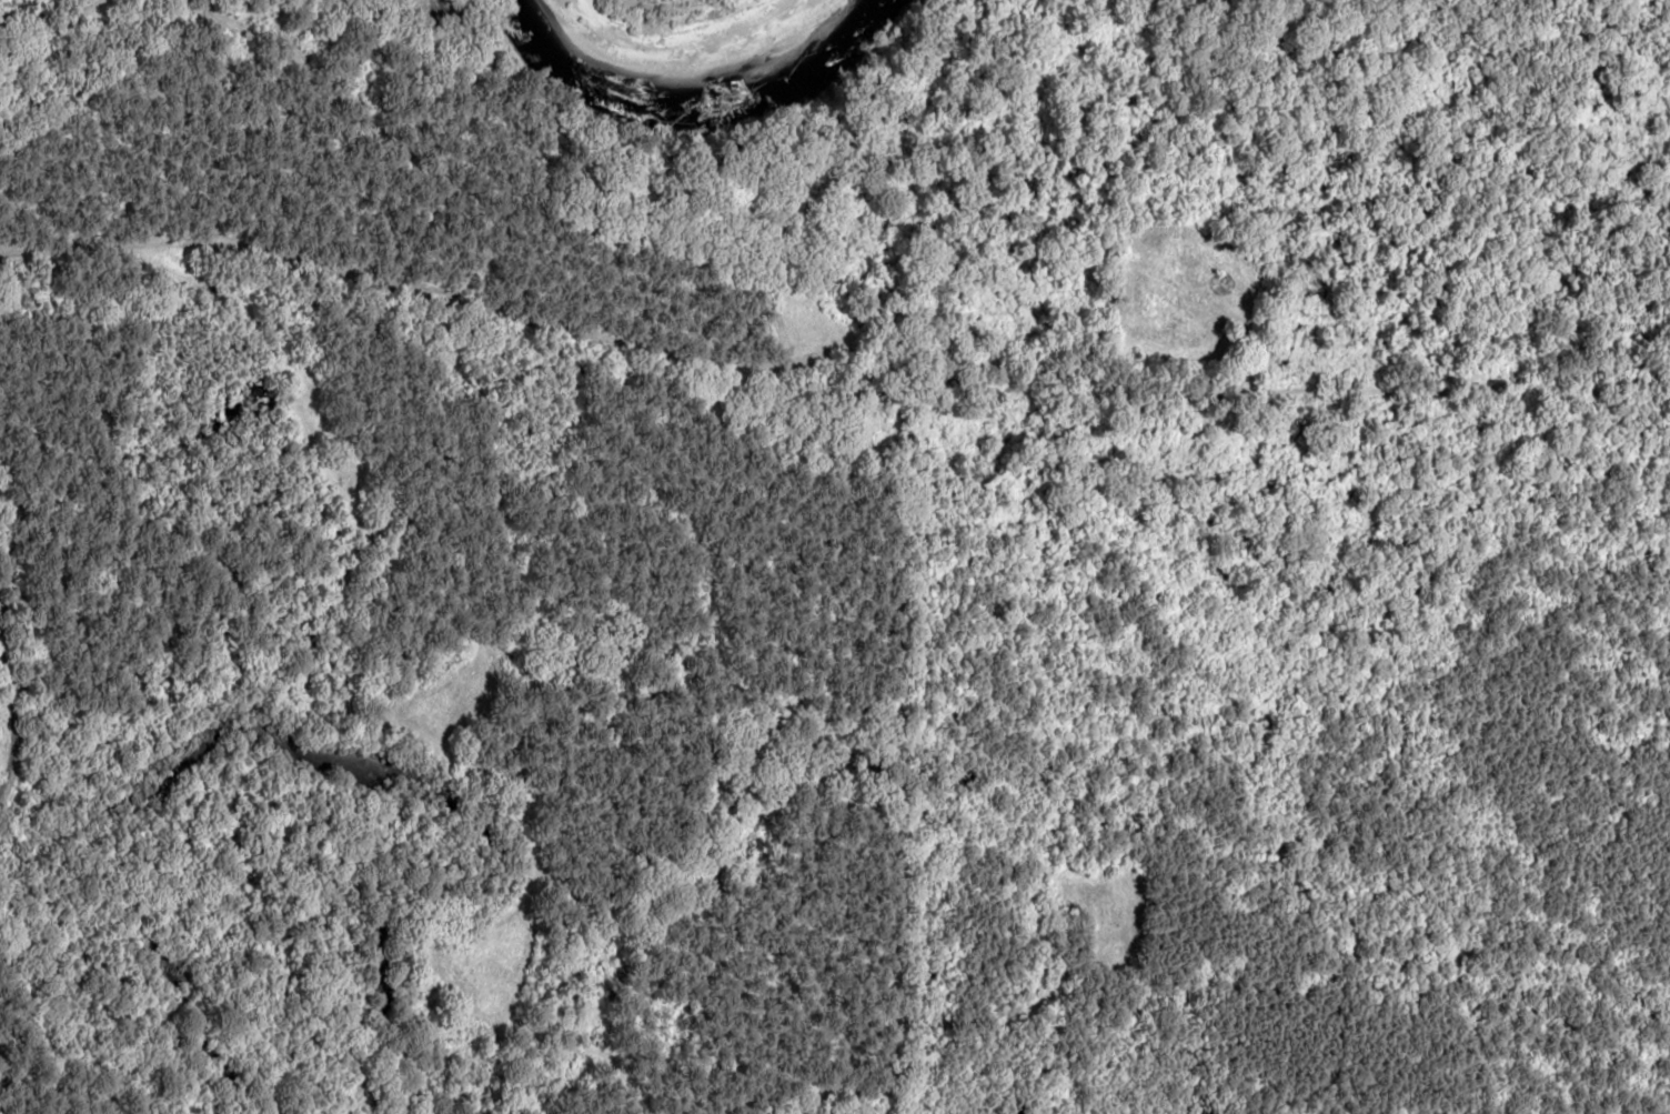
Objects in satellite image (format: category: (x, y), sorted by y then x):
road: (57, 57)
road: (10, 786)

